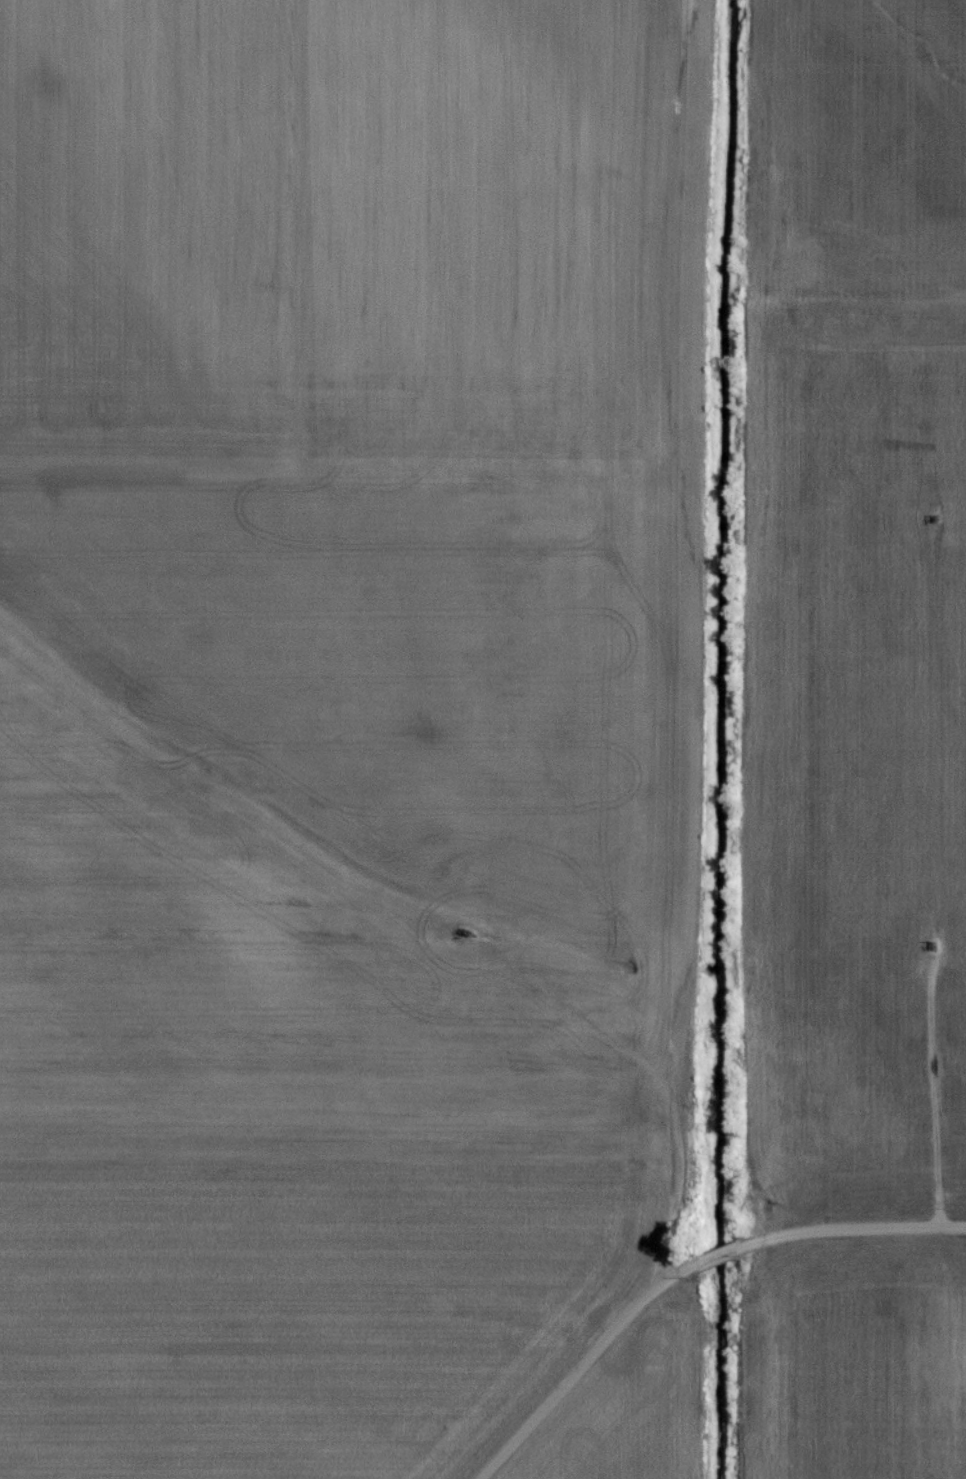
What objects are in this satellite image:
road: (854, 1216)
road: (603, 1343)

